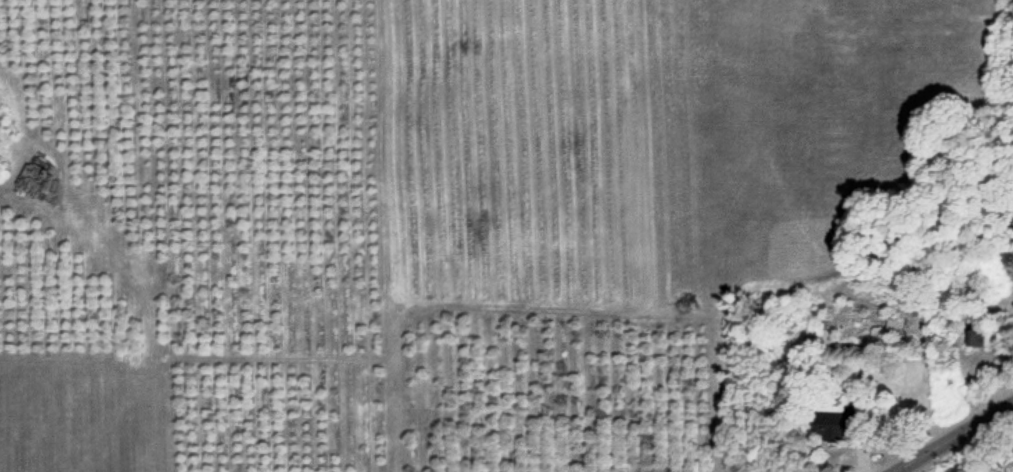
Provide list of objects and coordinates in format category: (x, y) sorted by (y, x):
building: (1010, 306)
building: (897, 328)
building: (975, 339)
road: (954, 437)

